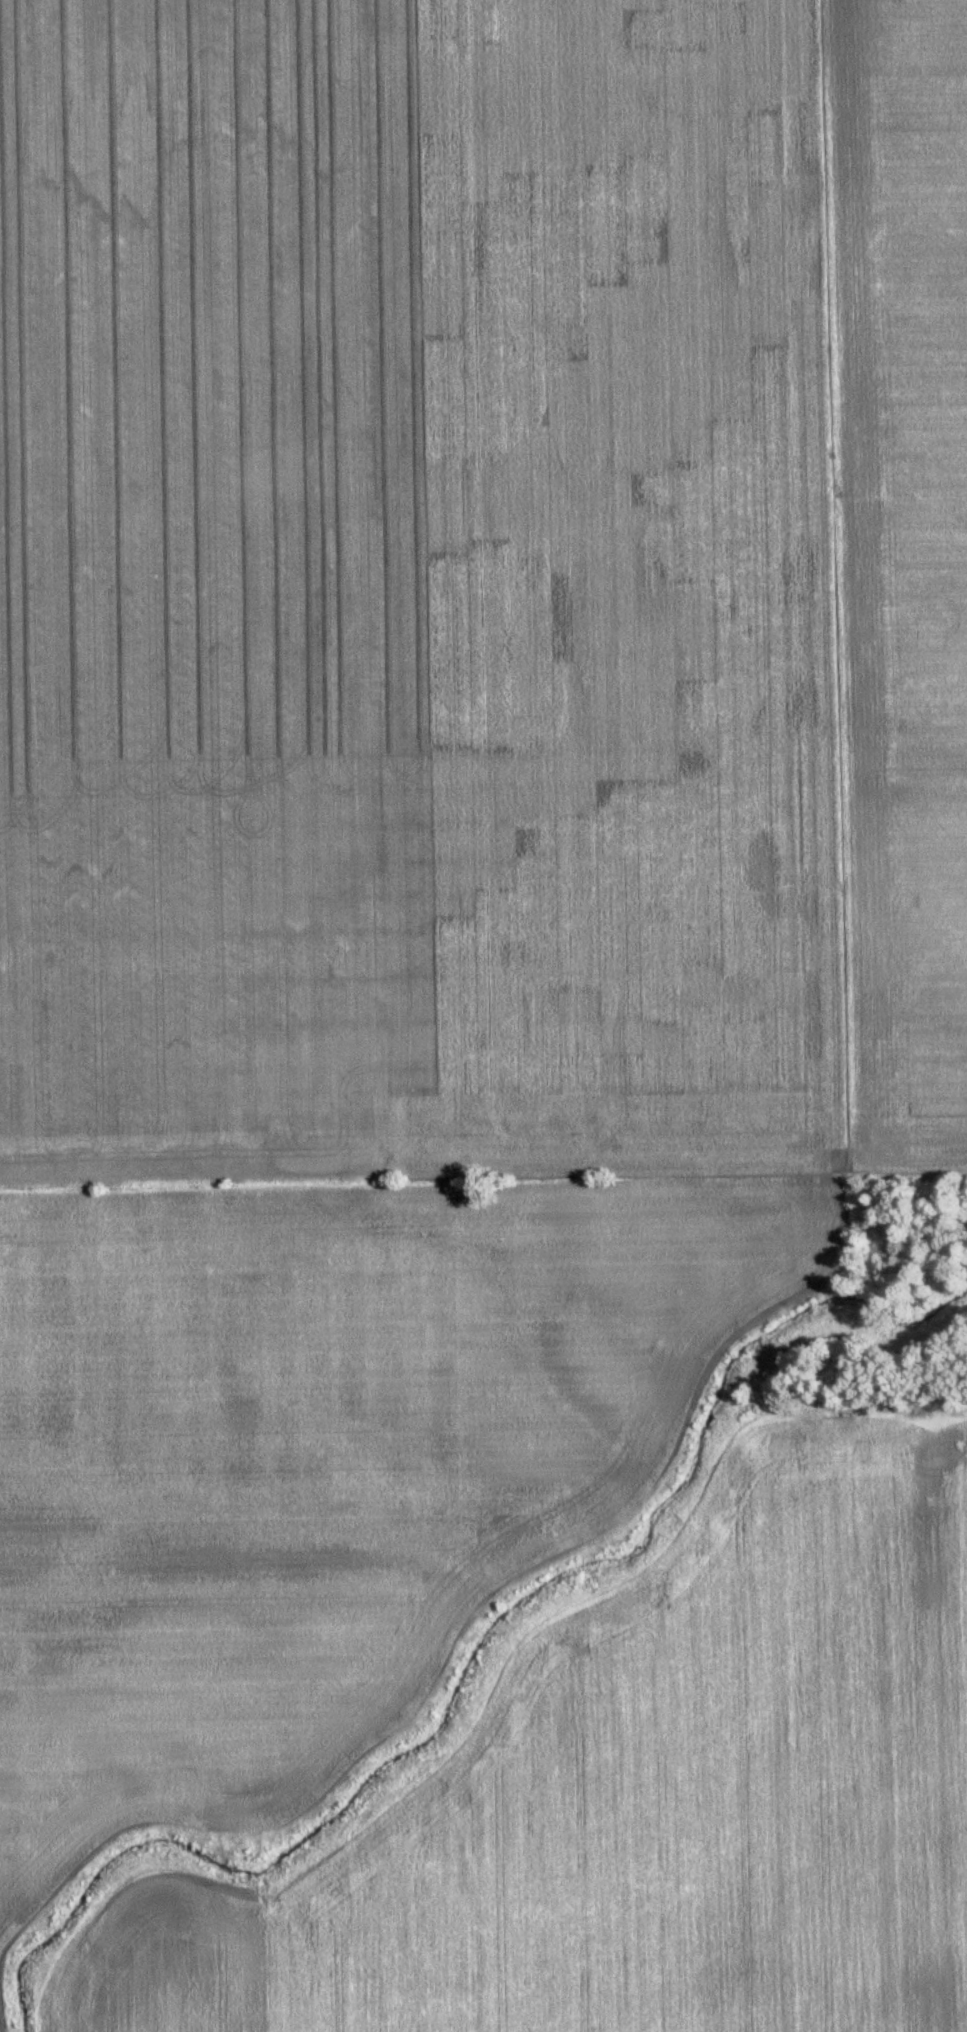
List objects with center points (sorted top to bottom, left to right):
crop: (900, 556)
crop: (415, 591)
crop: (329, 1446)
crop: (653, 1803)

